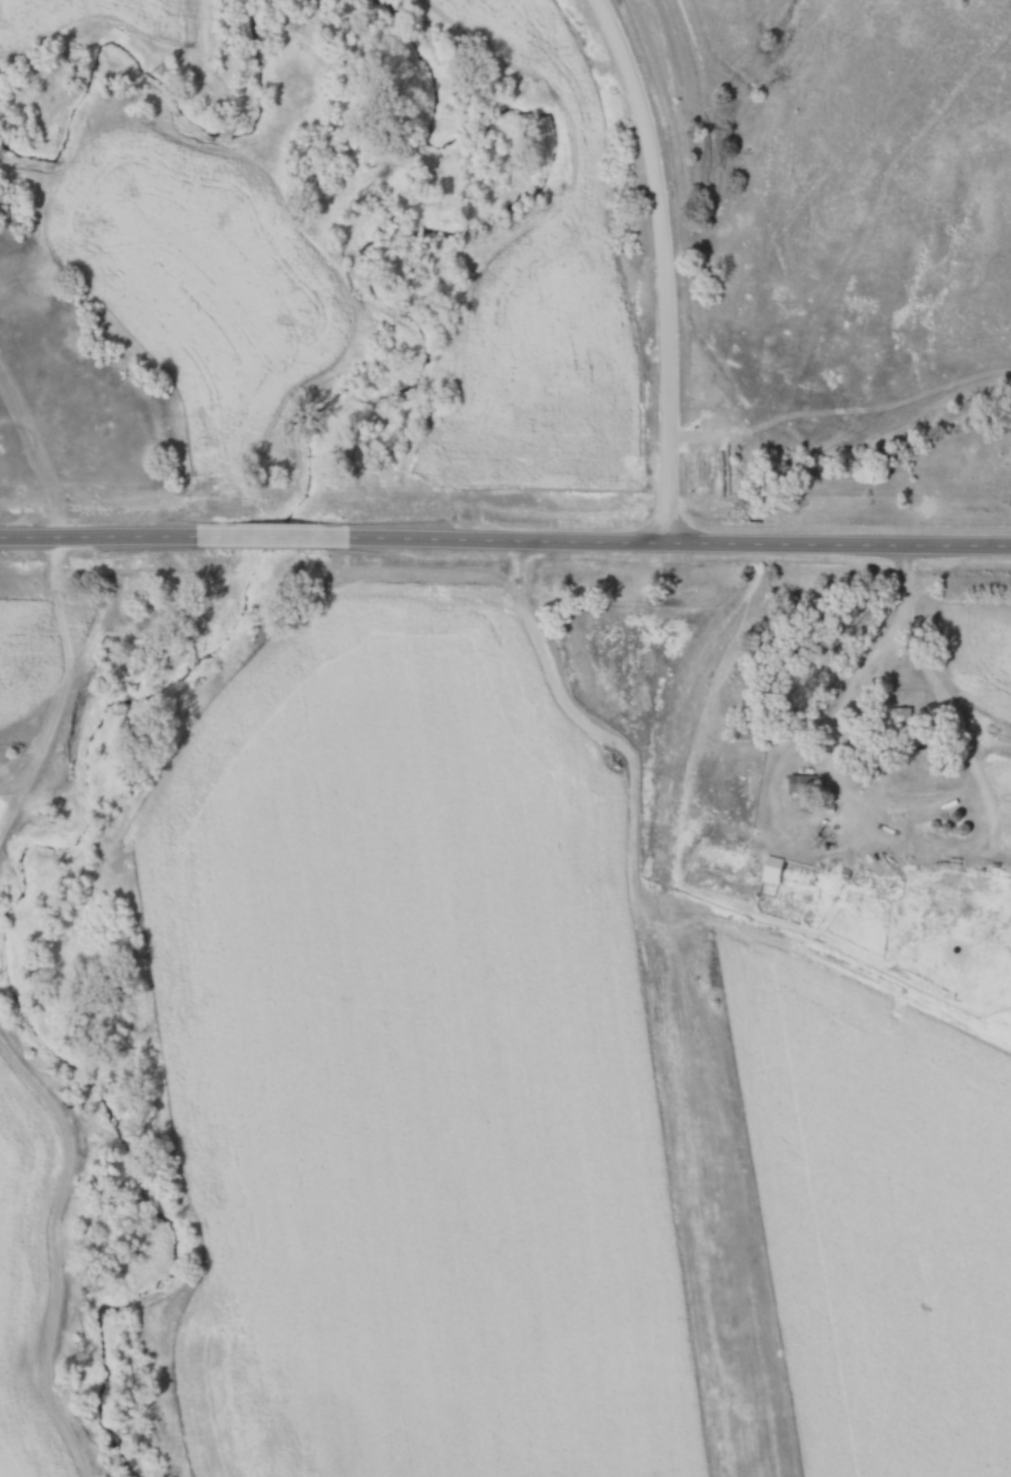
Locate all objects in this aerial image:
road: (665, 265)
road: (108, 537)
road: (281, 538)
road: (677, 541)
road: (897, 585)
building: (897, 721)
building: (802, 785)
road: (923, 812)
crop: (9, 835)
building: (769, 871)
crop: (426, 1080)
crop: (880, 1227)
crop: (29, 1281)

